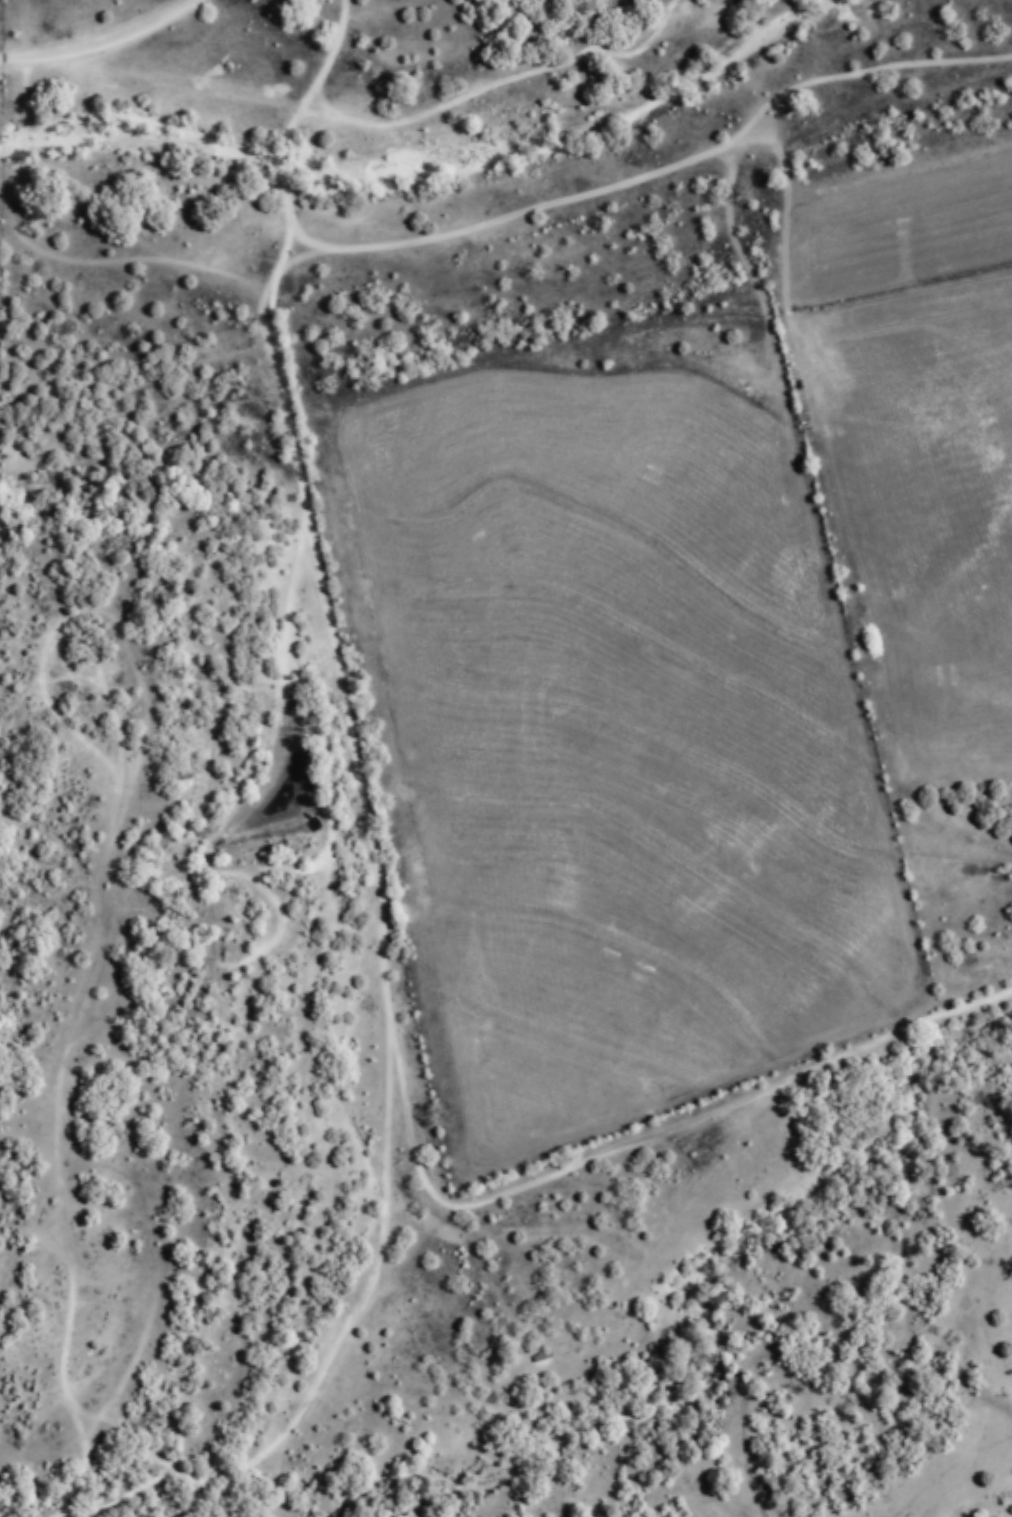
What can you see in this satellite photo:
road: (102, 42)
road: (364, 115)
road: (533, 221)
road: (382, 885)

